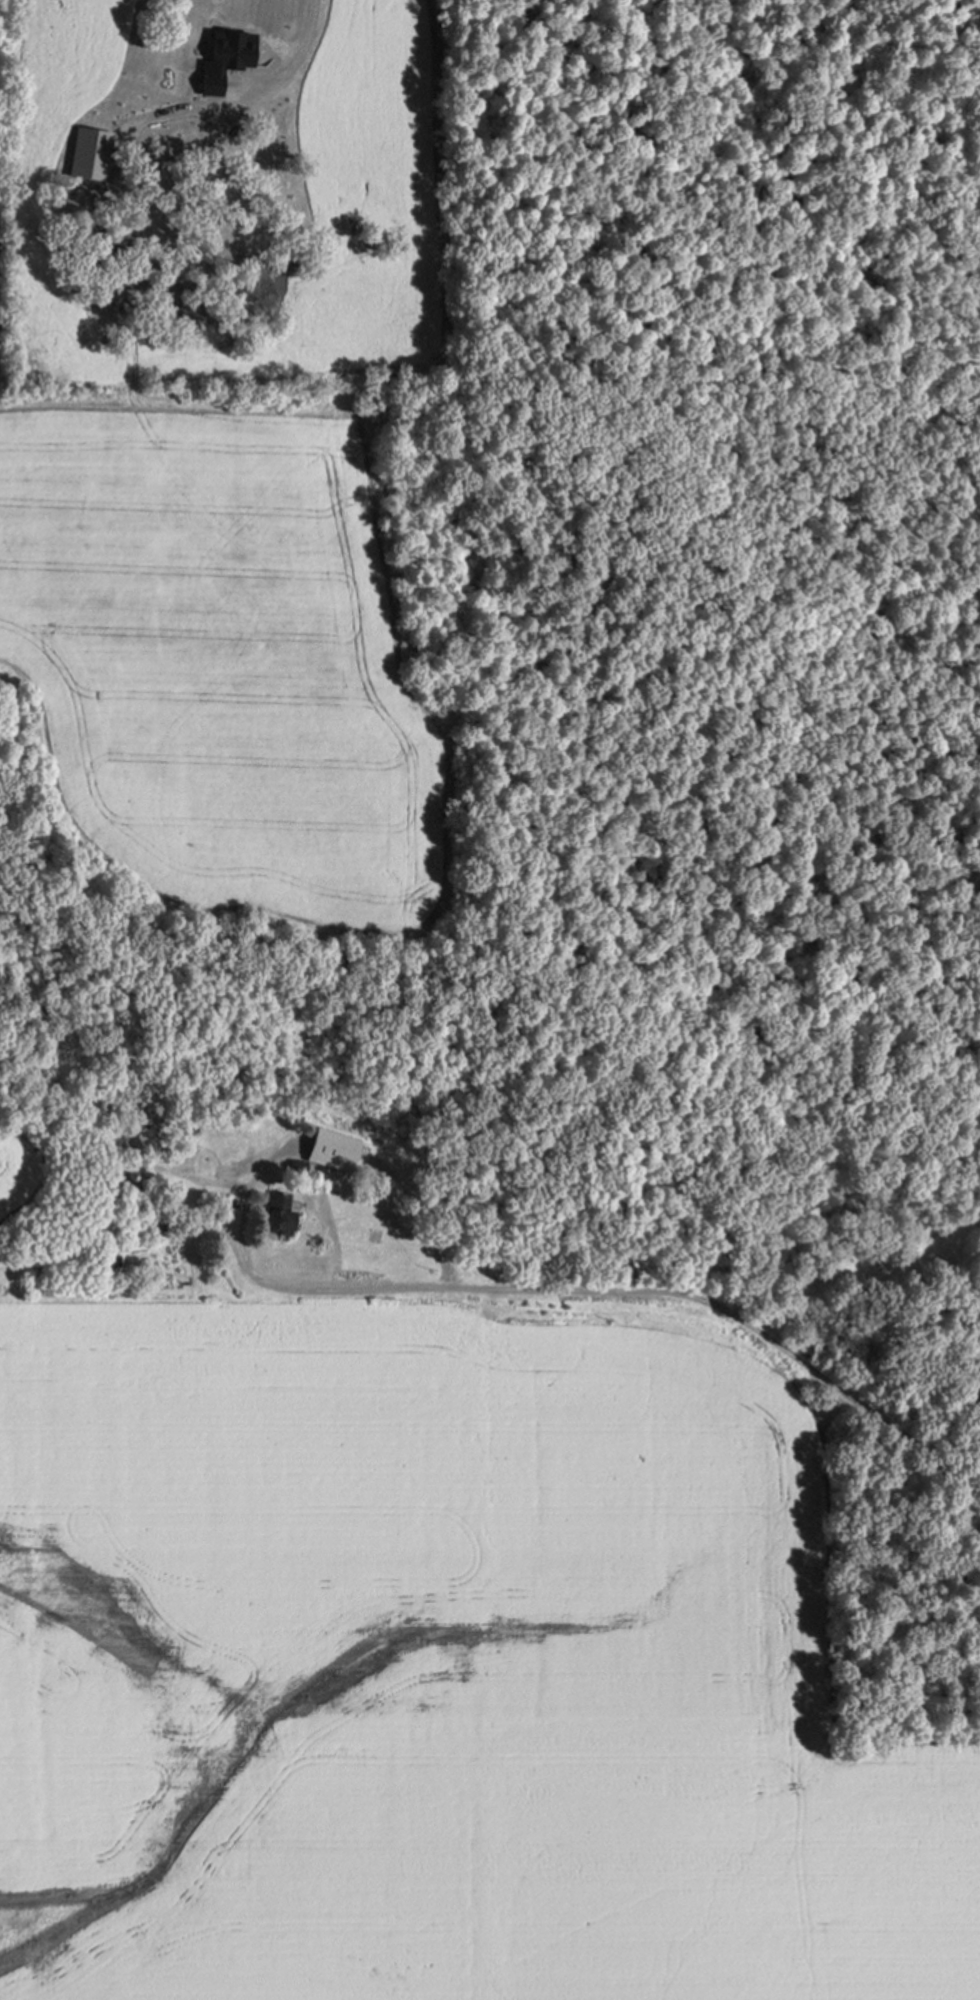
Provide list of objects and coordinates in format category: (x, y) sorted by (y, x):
road: (11, 759)
road: (62, 1042)
road: (104, 1194)
building: (278, 1212)
building: (102, 1258)
road: (876, 1268)
road: (602, 1289)

